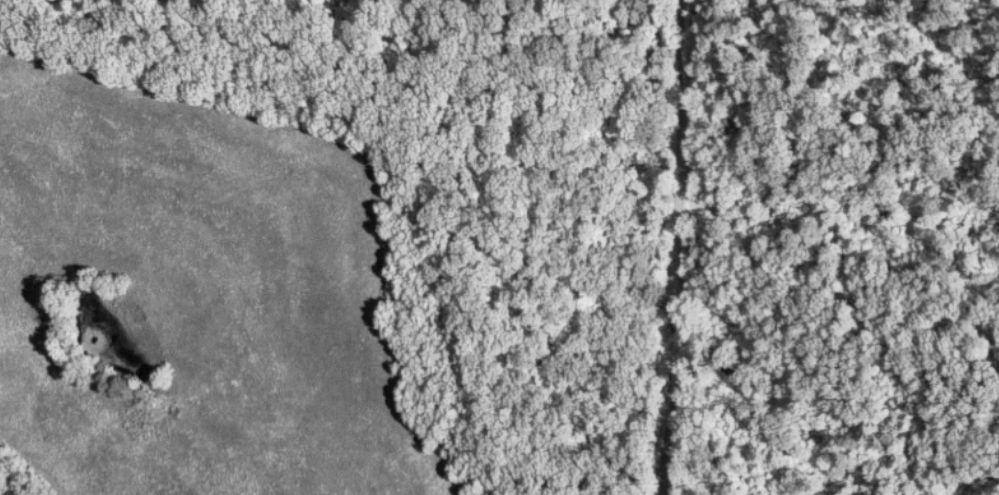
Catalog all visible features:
road: (680, 248)

